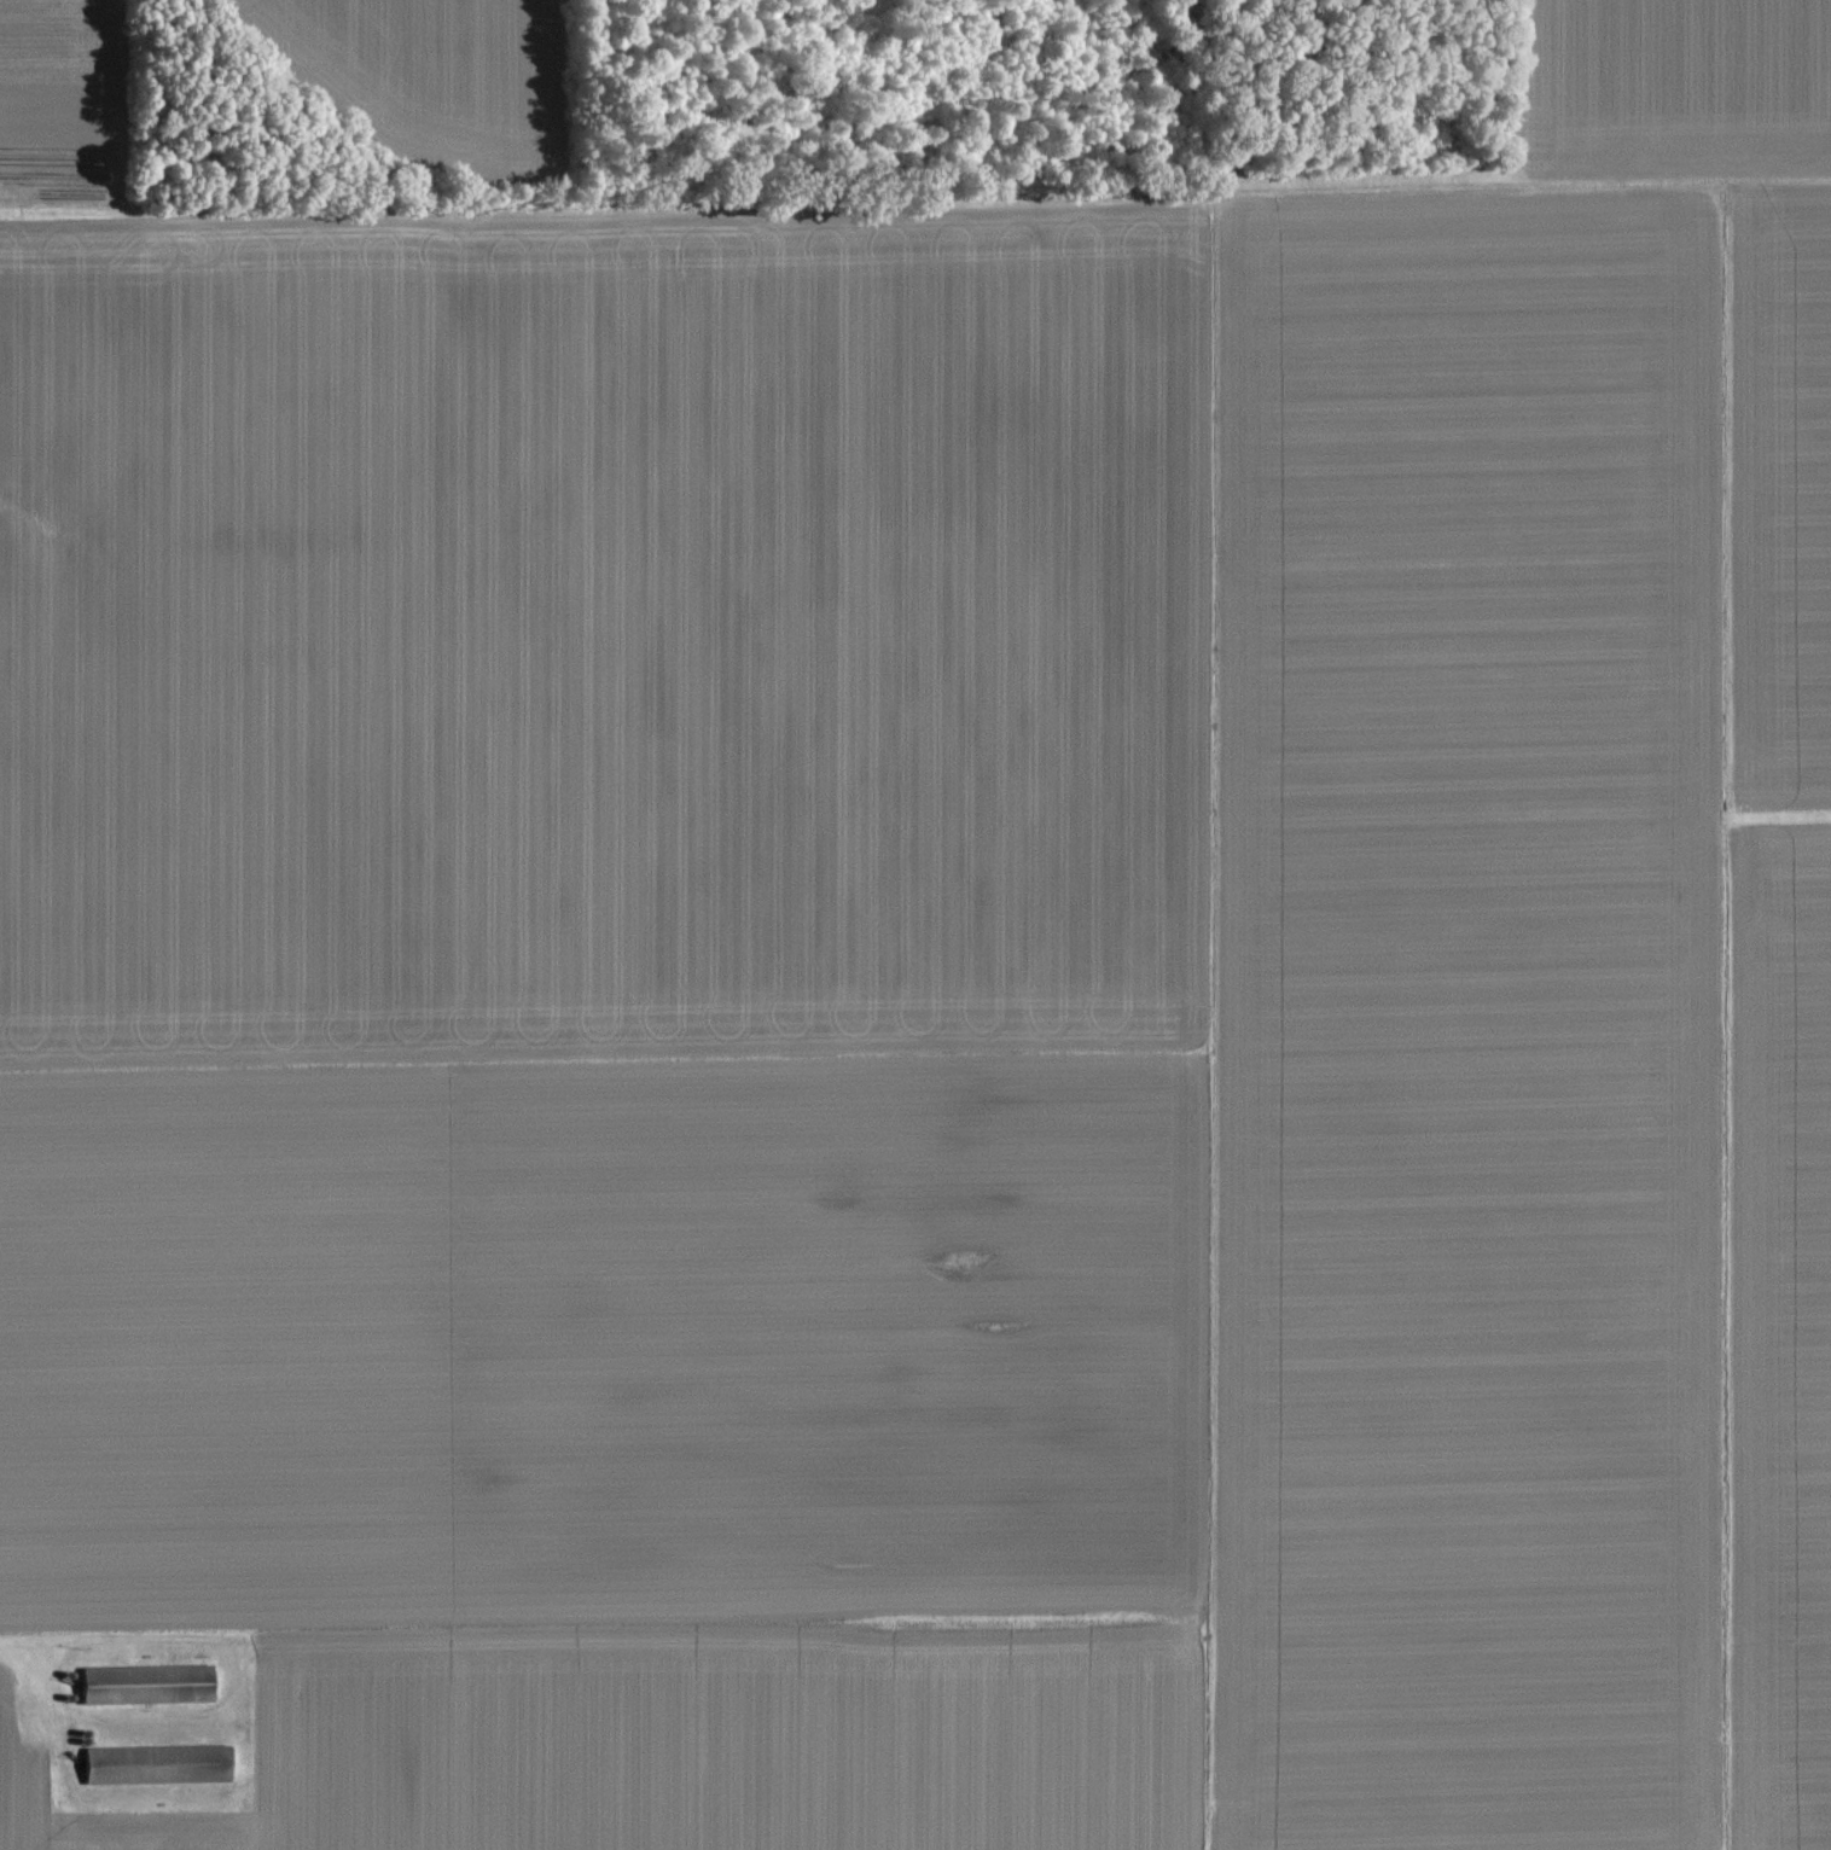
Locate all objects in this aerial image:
road: (43, 1668)
building: (146, 1767)

